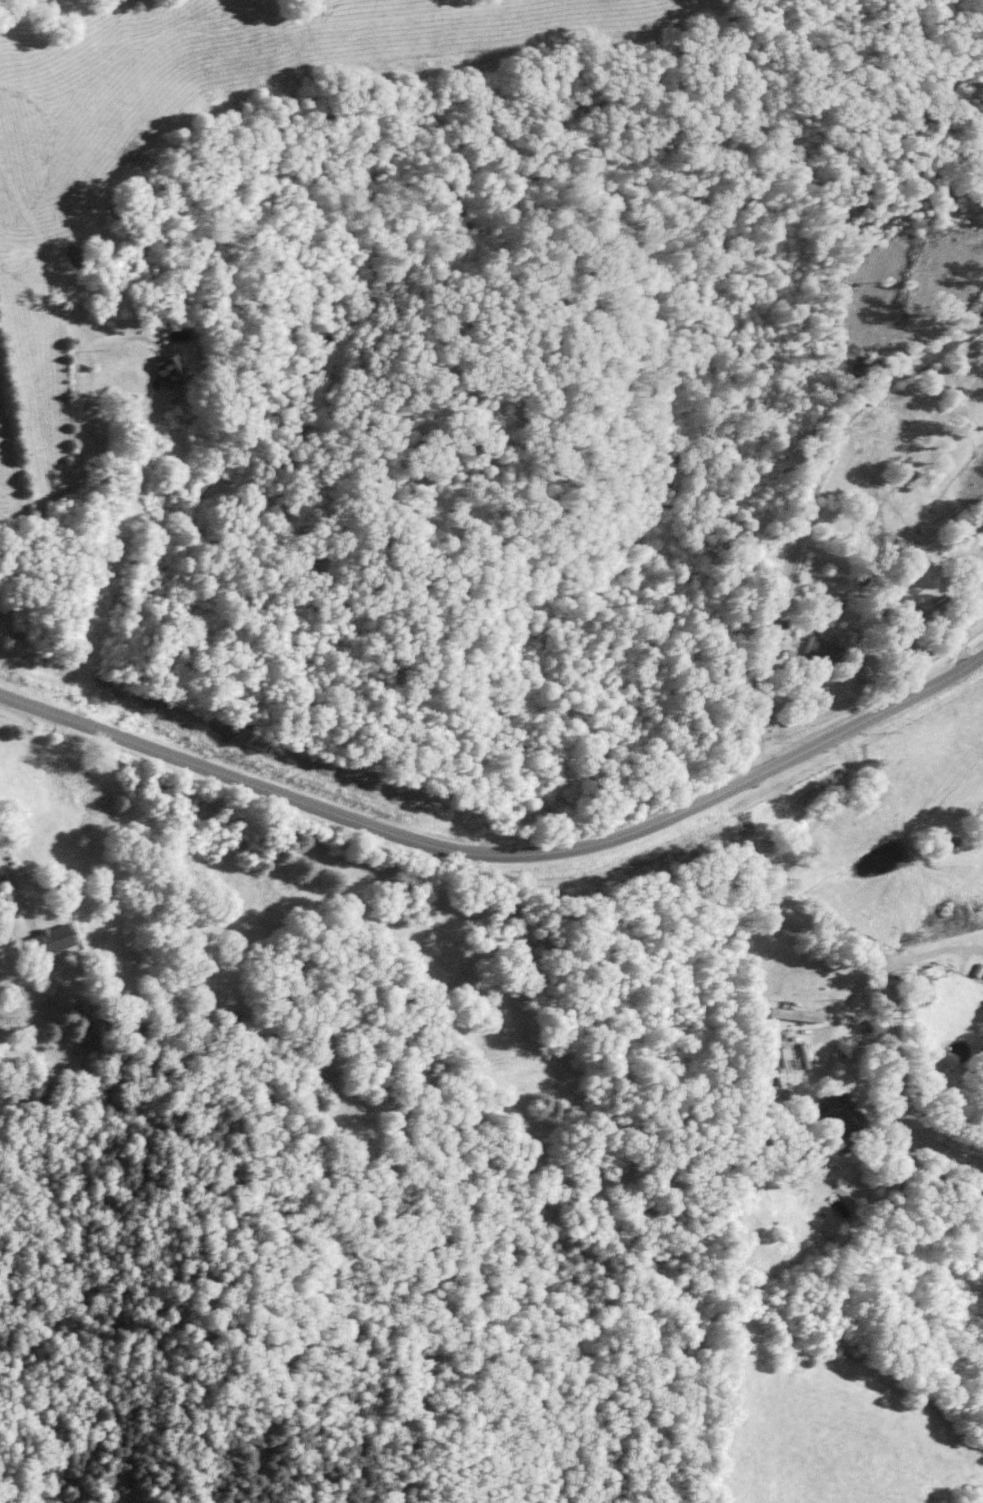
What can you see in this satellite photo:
building: (161, 369)
road: (800, 505)
building: (811, 646)
road: (501, 852)
road: (11, 891)
road: (822, 932)
building: (46, 939)
building: (910, 986)
building: (786, 1013)
building: (829, 1106)
building: (969, 1189)
building: (978, 1203)

